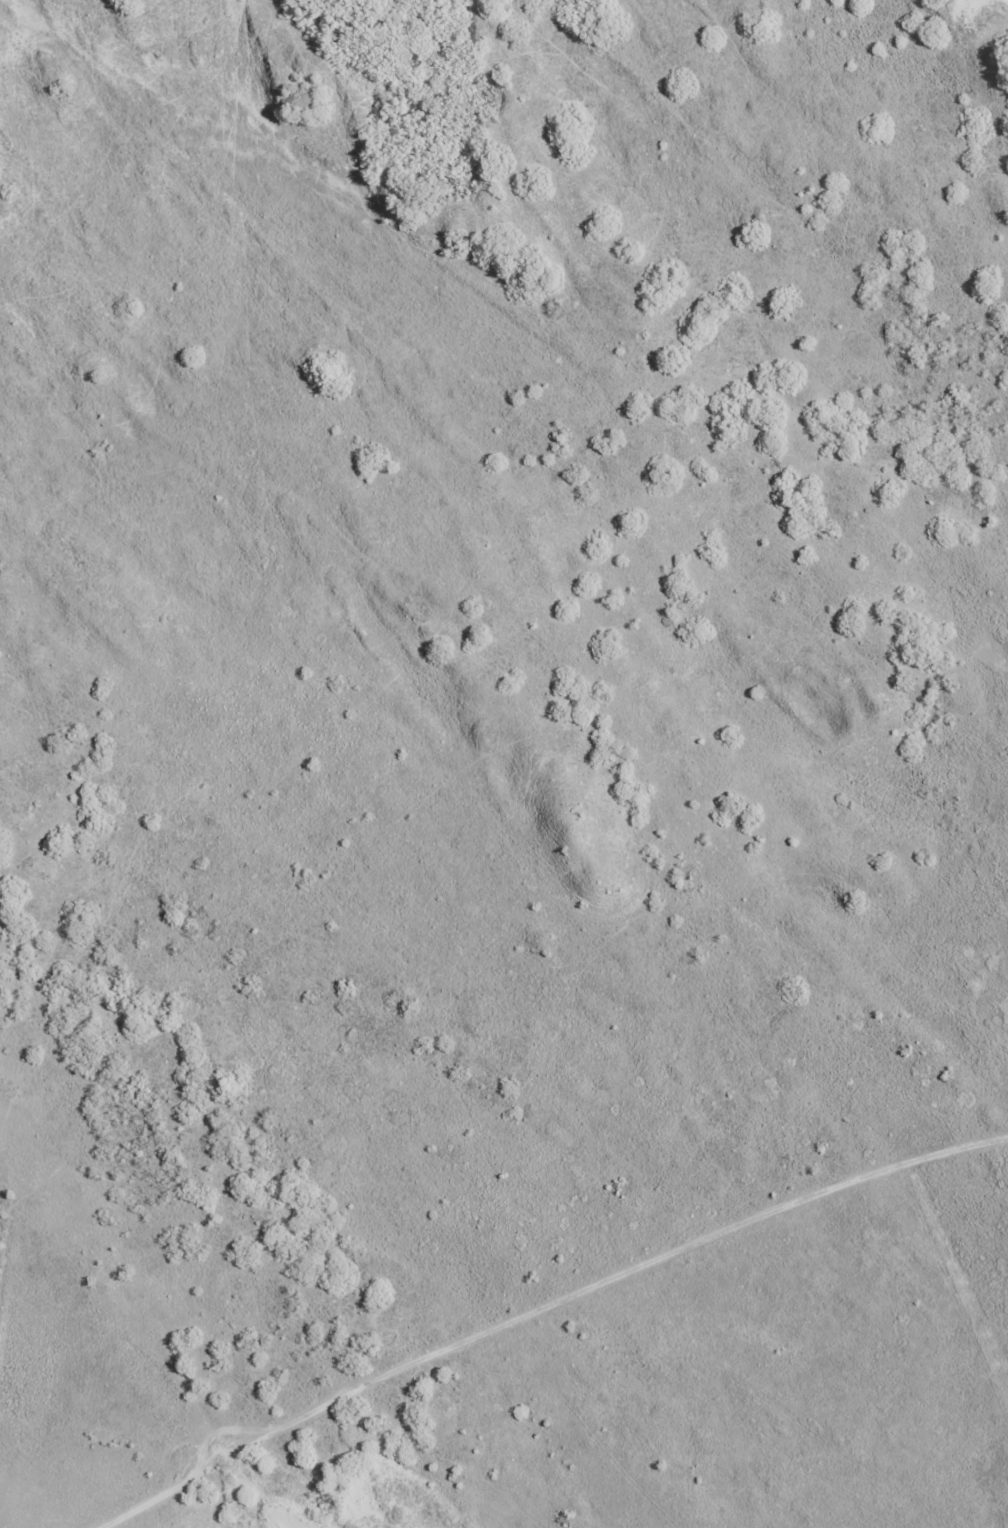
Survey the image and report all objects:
road: (79, 151)
road: (6, 1387)

